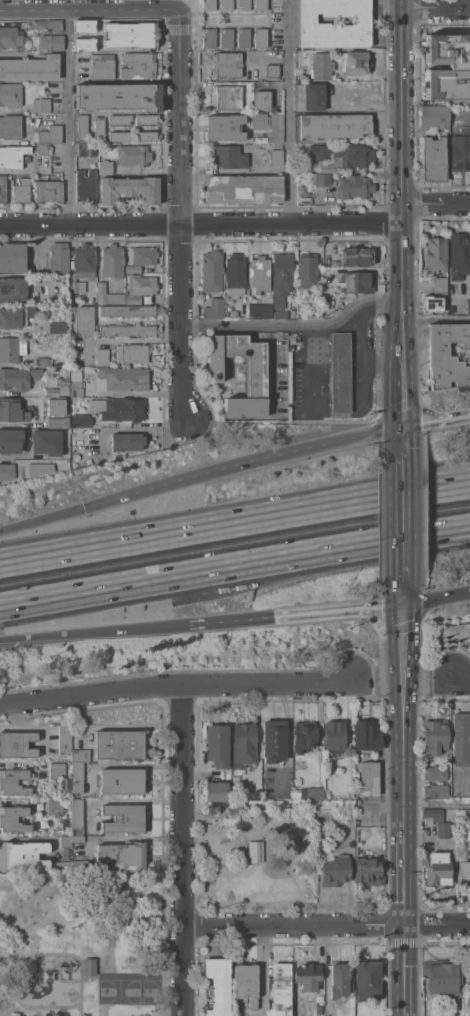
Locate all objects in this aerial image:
building: (225, 4)
building: (243, 4)
building: (260, 4)
road: (424, 4)
building: (209, 5)
road: (451, 7)
road: (88, 11)
building: (314, 23)
building: (48, 24)
building: (84, 25)
building: (131, 34)
building: (12, 36)
building: (209, 37)
building: (225, 37)
building: (243, 37)
building: (260, 37)
building: (48, 41)
building: (84, 43)
building: (356, 62)
building: (226, 64)
building: (138, 65)
building: (322, 65)
building: (448, 66)
building: (102, 67)
building: (30, 68)
building: (272, 70)
building: (10, 94)
building: (238, 95)
building: (119, 96)
building: (314, 96)
building: (41, 105)
road: (290, 112)
building: (434, 116)
road: (68, 118)
building: (119, 119)
building: (146, 119)
building: (260, 120)
building: (333, 125)
building: (10, 126)
building: (225, 127)
building: (276, 127)
building: (99, 128)
building: (50, 134)
building: (83, 135)
building: (119, 135)
building: (146, 135)
road: (404, 150)
building: (320, 151)
building: (460, 151)
building: (133, 154)
building: (352, 155)
building: (12, 156)
building: (229, 156)
building: (43, 157)
building: (277, 157)
building: (433, 159)
building: (105, 166)
building: (324, 167)
building: (57, 175)
building: (320, 179)
building: (86, 186)
building: (355, 186)
building: (3, 188)
building: (244, 188)
building: (129, 189)
building: (21, 190)
building: (48, 191)
road: (414, 196)
road: (452, 202)
road: (178, 214)
road: (201, 224)
building: (435, 253)
building: (142, 255)
building: (357, 255)
building: (459, 255)
building: (12, 257)
building: (59, 257)
building: (112, 261)
building: (334, 263)
building: (82, 267)
building: (133, 268)
building: (307, 270)
building: (212, 271)
building: (235, 274)
building: (259, 274)
building: (281, 281)
building: (357, 281)
building: (440, 284)
building: (140, 287)
building: (13, 289)
building: (109, 295)
building: (433, 302)
building: (468, 306)
building: (214, 308)
building: (260, 309)
building: (127, 310)
road: (404, 310)
building: (233, 312)
building: (304, 314)
building: (15, 316)
road: (437, 318)
building: (84, 320)
building: (57, 327)
road: (295, 327)
building: (128, 329)
road: (404, 345)
building: (11, 348)
building: (131, 353)
building: (102, 356)
building: (442, 358)
building: (41, 361)
building: (340, 372)
building: (255, 373)
building: (18, 377)
building: (123, 378)
building: (62, 381)
building: (76, 384)
building: (52, 392)
road: (405, 399)
building: (56, 405)
building: (119, 408)
building: (12, 410)
building: (81, 420)
road: (295, 421)
building: (58, 422)
road: (437, 422)
traffic signals: (405, 428)
road: (405, 431)
building: (11, 440)
building: (127, 441)
building: (47, 442)
building: (93, 444)
road: (244, 464)
building: (39, 468)
building: (6, 471)
traffic signals: (85, 508)
road: (405, 511)
road: (42, 519)
road: (234, 522)
road: (467, 533)
road: (467, 533)
road: (231, 572)
road: (406, 597)
road: (438, 599)
traffic signals: (406, 605)
road: (338, 611)
road: (229, 621)
building: (455, 632)
road: (94, 633)
road: (463, 672)
road: (401, 673)
road: (173, 685)
building: (334, 734)
building: (434, 735)
building: (304, 736)
building: (65, 739)
building: (461, 739)
building: (274, 740)
building: (17, 744)
building: (119, 744)
building: (244, 744)
building: (217, 745)
building: (80, 755)
building: (359, 756)
road: (405, 764)
building: (57, 769)
building: (435, 772)
building: (77, 777)
building: (121, 780)
building: (13, 781)
building: (65, 787)
building: (215, 791)
building: (436, 791)
building: (310, 793)
building: (256, 794)
road: (438, 800)
building: (55, 806)
building: (77, 817)
building: (123, 817)
building: (13, 819)
building: (443, 823)
building: (78, 838)
building: (66, 841)
road: (183, 850)
building: (255, 851)
building: (459, 851)
building: (23, 855)
building: (122, 855)
building: (81, 866)
building: (63, 867)
building: (335, 869)
building: (437, 869)
building: (369, 871)
building: (464, 873)
road: (70, 887)
park: (139, 917)
road: (438, 923)
road: (294, 925)
road: (114, 941)
building: (89, 961)
road: (260, 963)
road: (265, 963)
road: (406, 970)
building: (446, 974)
building: (308, 975)
building: (368, 976)
building: (339, 979)
building: (246, 982)
building: (218, 985)
park: (124, 989)
building: (280, 990)
building: (319, 1009)

